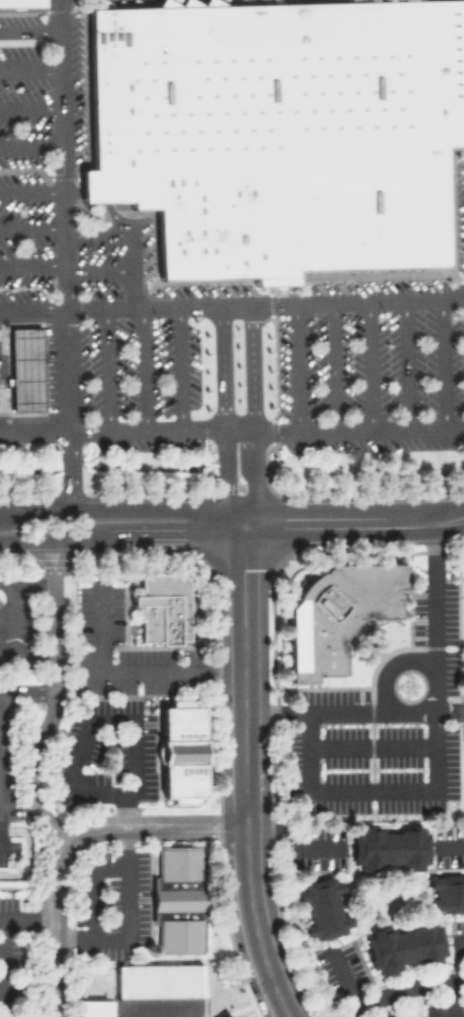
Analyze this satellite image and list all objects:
building: (21, 3)
road: (30, 32)
building: (463, 46)
parking lot: (463, 46)
road: (31, 67)
road: (31, 109)
building: (277, 132)
parking lot: (35, 139)
road: (31, 145)
road: (71, 187)
road: (94, 189)
road: (32, 193)
road: (115, 220)
road: (32, 229)
road: (96, 238)
road: (65, 254)
road: (129, 254)
road: (32, 265)
road: (97, 273)
road: (130, 290)
road: (232, 305)
parking lot: (138, 346)
road: (33, 353)
parking lot: (367, 364)
road: (436, 364)
road: (401, 366)
road: (331, 367)
road: (366, 367)
road: (293, 368)
building: (24, 370)
gas station: (24, 370)
road: (33, 370)
road: (178, 370)
road: (105, 371)
road: (143, 371)
road: (34, 392)
road: (34, 410)
road: (252, 415)
road: (221, 416)
road: (232, 433)
road: (141, 508)
road: (20, 510)
road: (352, 521)
road: (120, 532)
road: (38, 584)
building: (162, 606)
building: (336, 614)
road: (434, 615)
road: (14, 636)
road: (390, 666)
road: (128, 676)
road: (27, 692)
road: (55, 701)
road: (353, 711)
road: (101, 716)
road: (372, 745)
building: (181, 751)
road: (245, 773)
road: (372, 788)
road: (17, 807)
road: (156, 825)
road: (291, 839)
road: (449, 845)
building: (389, 847)
building: (179, 863)
building: (445, 892)
building: (177, 898)
building: (322, 907)
road: (57, 928)
building: (179, 935)
road: (113, 937)
road: (459, 938)
road: (1, 942)
building: (404, 945)
road: (345, 977)
building: (158, 981)
road: (400, 990)
road: (452, 998)
building: (93, 1008)
building: (433, 1009)
building: (389, 1014)

